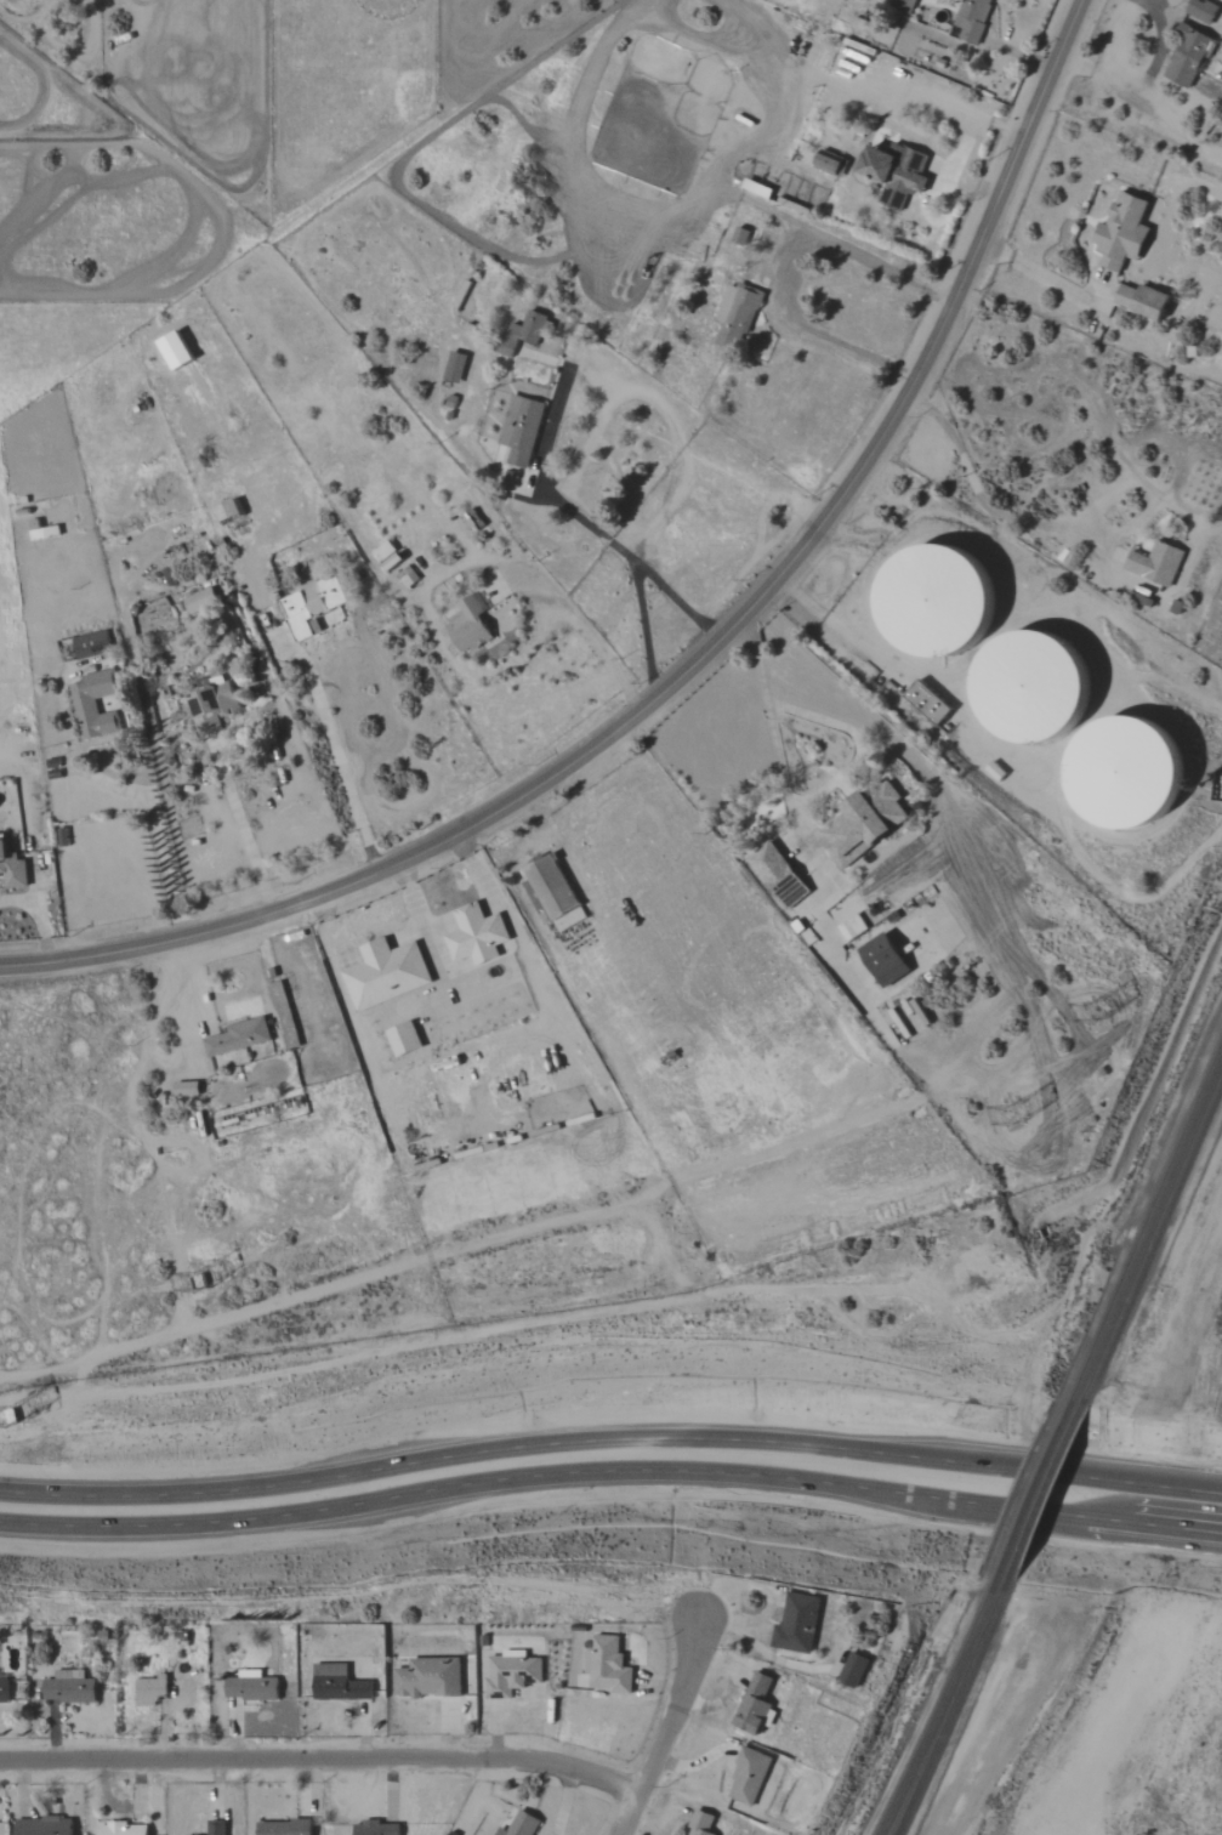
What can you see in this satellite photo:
building: (905, 2)
building: (1201, 10)
building: (970, 19)
building: (1187, 55)
building: (826, 161)
building: (894, 171)
building: (1120, 232)
road: (784, 279)
building: (1141, 300)
building: (734, 316)
building: (535, 328)
building: (172, 350)
building: (519, 430)
road: (987, 502)
building: (226, 511)
road: (595, 523)
building: (1156, 563)
road: (680, 596)
building: (928, 598)
building: (198, 601)
building: (313, 608)
road: (557, 615)
building: (467, 624)
road: (649, 627)
building: (90, 644)
road: (693, 659)
building: (1027, 689)
building: (926, 703)
building: (92, 705)
building: (210, 705)
road: (346, 759)
building: (1122, 773)
road: (789, 800)
road: (246, 820)
building: (862, 825)
road: (161, 835)
building: (11, 869)
building: (777, 875)
building: (553, 893)
road: (42, 909)
building: (474, 934)
building: (882, 960)
building: (385, 973)
power tower: (1096, 1006)
building: (238, 1038)
building: (402, 1039)
building: (184, 1089)
power tower: (1027, 1112)
railway: (1146, 1223)
railway: (1152, 1238)
power tower: (206, 1278)
power tower: (22, 1414)
road: (610, 1442)
road: (612, 1470)
railway: (1031, 1493)
railway: (1042, 1495)
building: (796, 1623)
building: (839, 1659)
building: (608, 1665)
building: (852, 1670)
building: (510, 1672)
building: (427, 1678)
building: (337, 1683)
building: (2, 1687)
building: (68, 1687)
building: (148, 1689)
building: (249, 1689)
building: (752, 1704)
railway: (937, 1709)
railway: (950, 1710)
road: (675, 1731)
road: (320, 1755)
building: (748, 1776)
building: (699, 1823)
building: (519, 1824)
building: (42, 1825)
building: (215, 1828)
building: (283, 1828)
building: (376, 1828)
building: (120, 1829)

